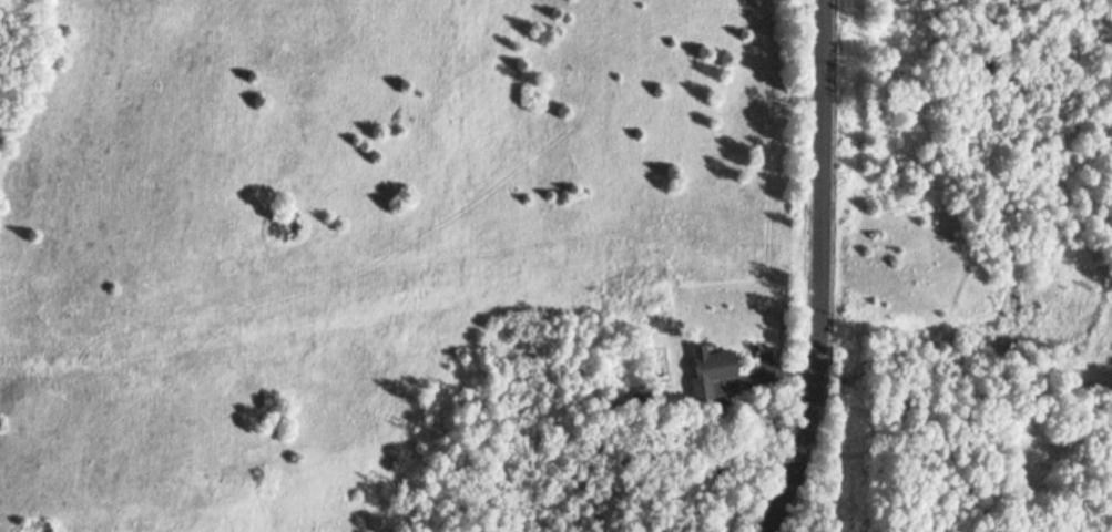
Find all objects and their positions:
road: (773, 267)
building: (705, 375)

